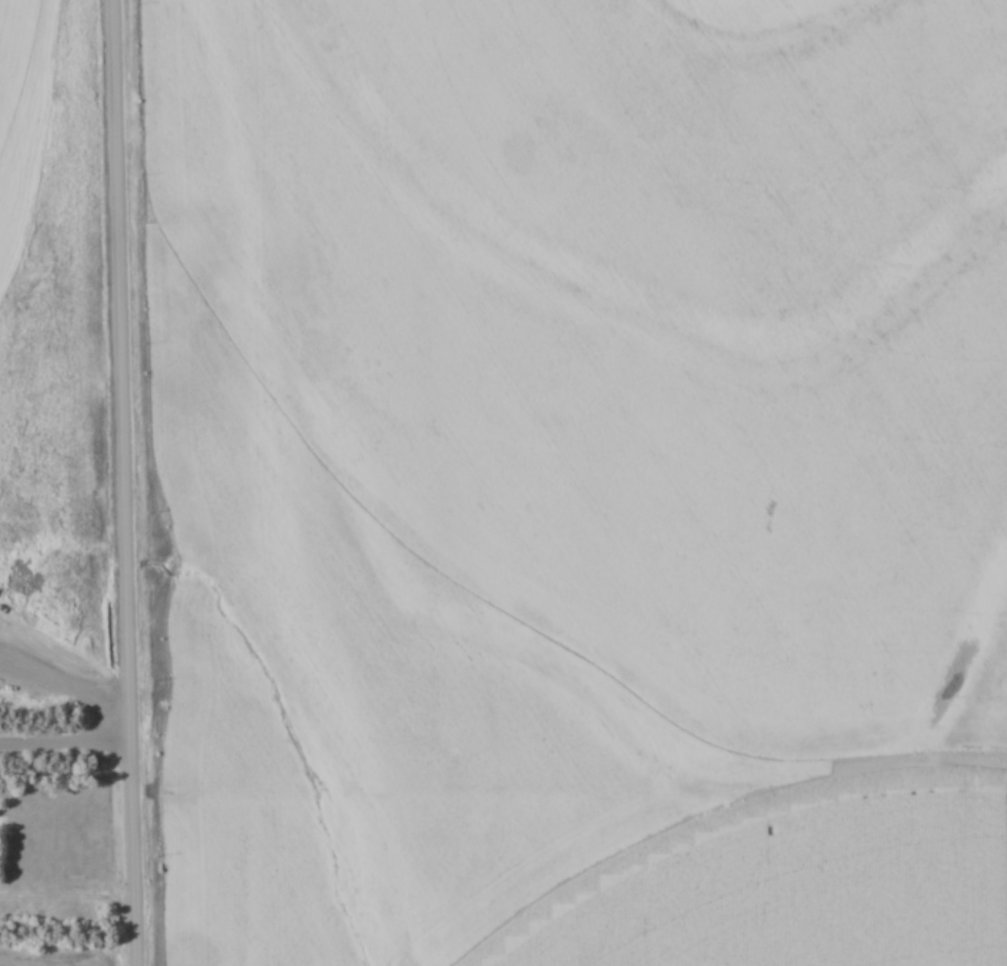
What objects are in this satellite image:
road: (125, 483)
road: (66, 739)
road: (68, 896)

